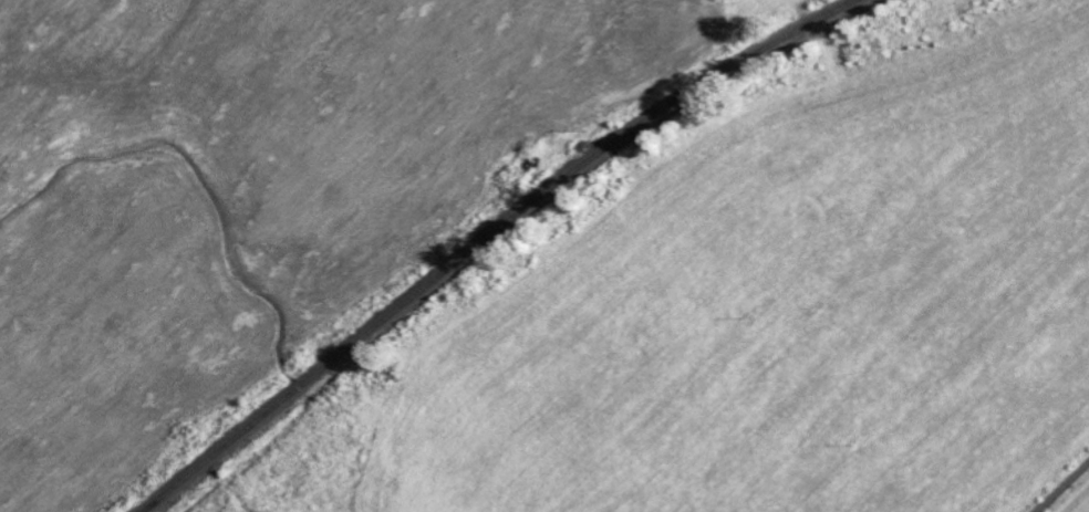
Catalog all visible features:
railway: (486, 239)

